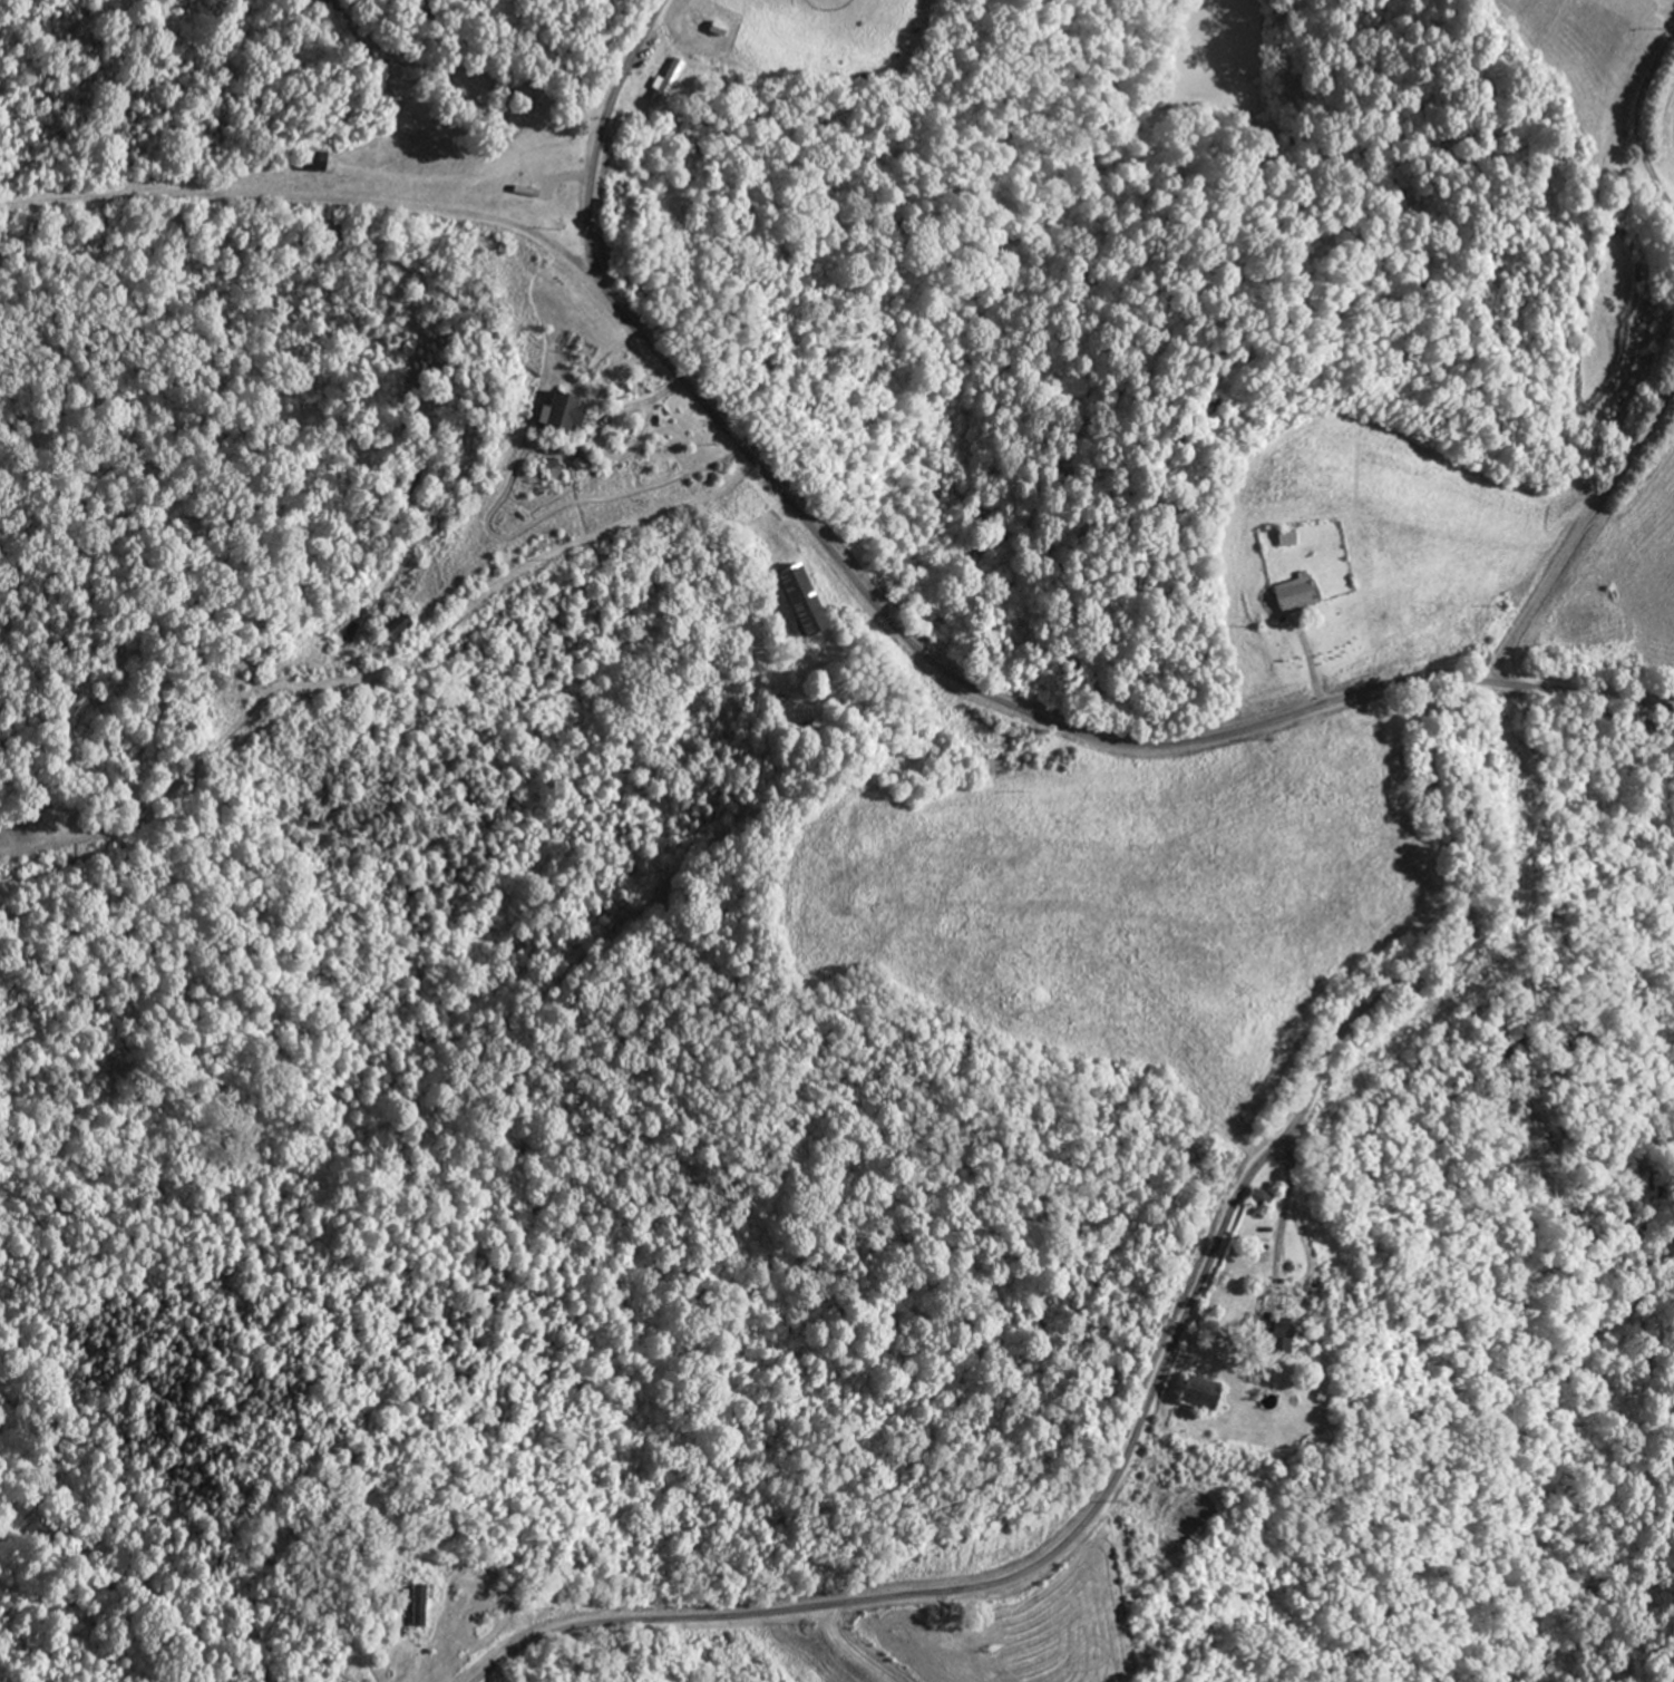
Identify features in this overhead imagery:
building: (312, 161)
road: (188, 195)
road: (499, 223)
building: (566, 414)
building: (553, 468)
road: (662, 516)
building: (1296, 595)
building: (802, 601)
building: (397, 625)
road: (917, 652)
road: (1340, 1036)
building: (1261, 1196)
road: (844, 1601)
building: (413, 1605)
building: (972, 1642)

